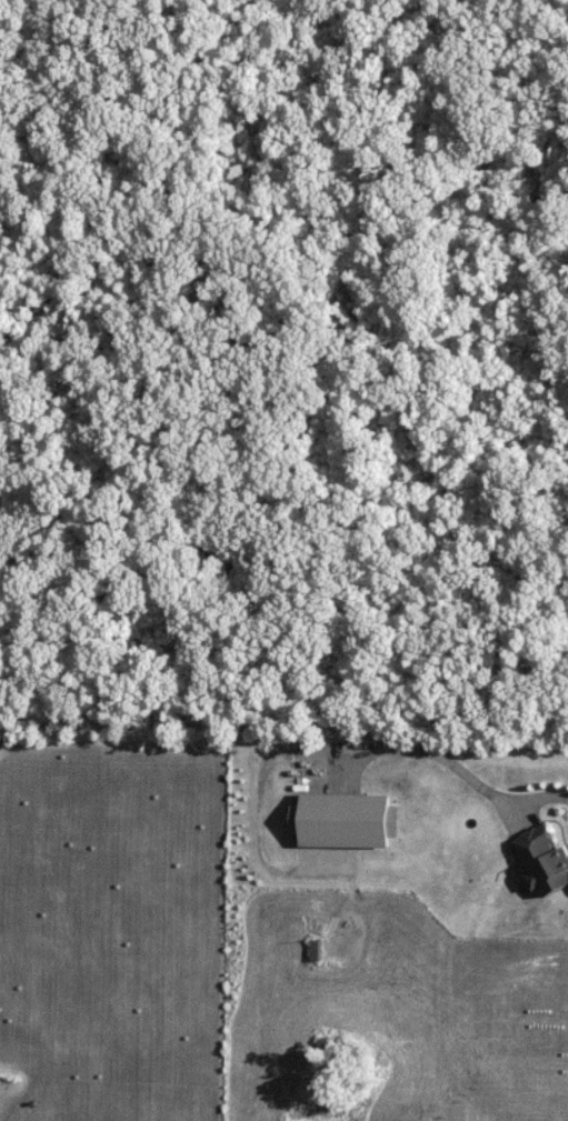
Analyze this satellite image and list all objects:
building: (346, 820)
building: (544, 859)
building: (317, 950)

